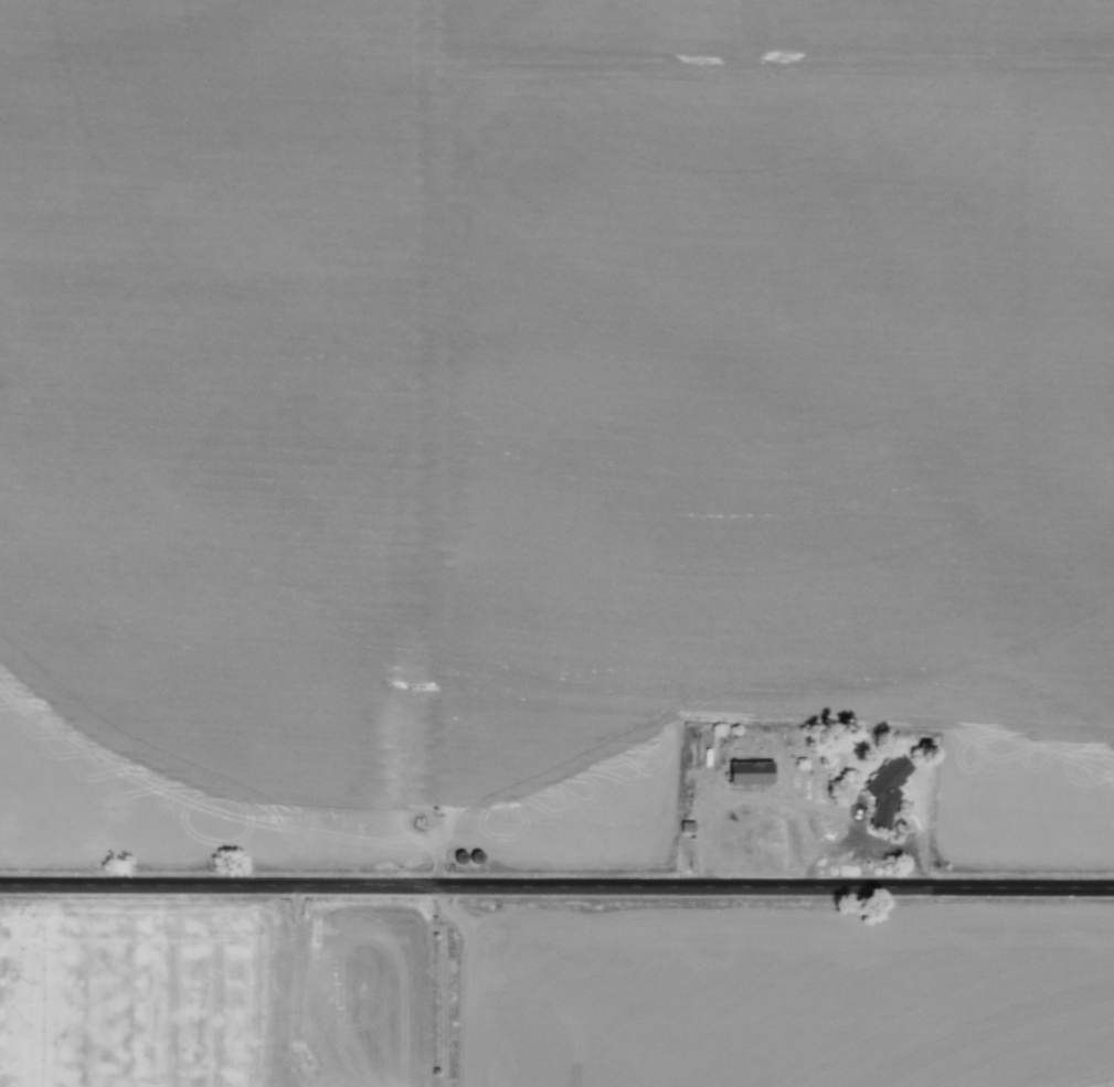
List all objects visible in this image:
building: (750, 771)
building: (887, 786)
road: (556, 889)

